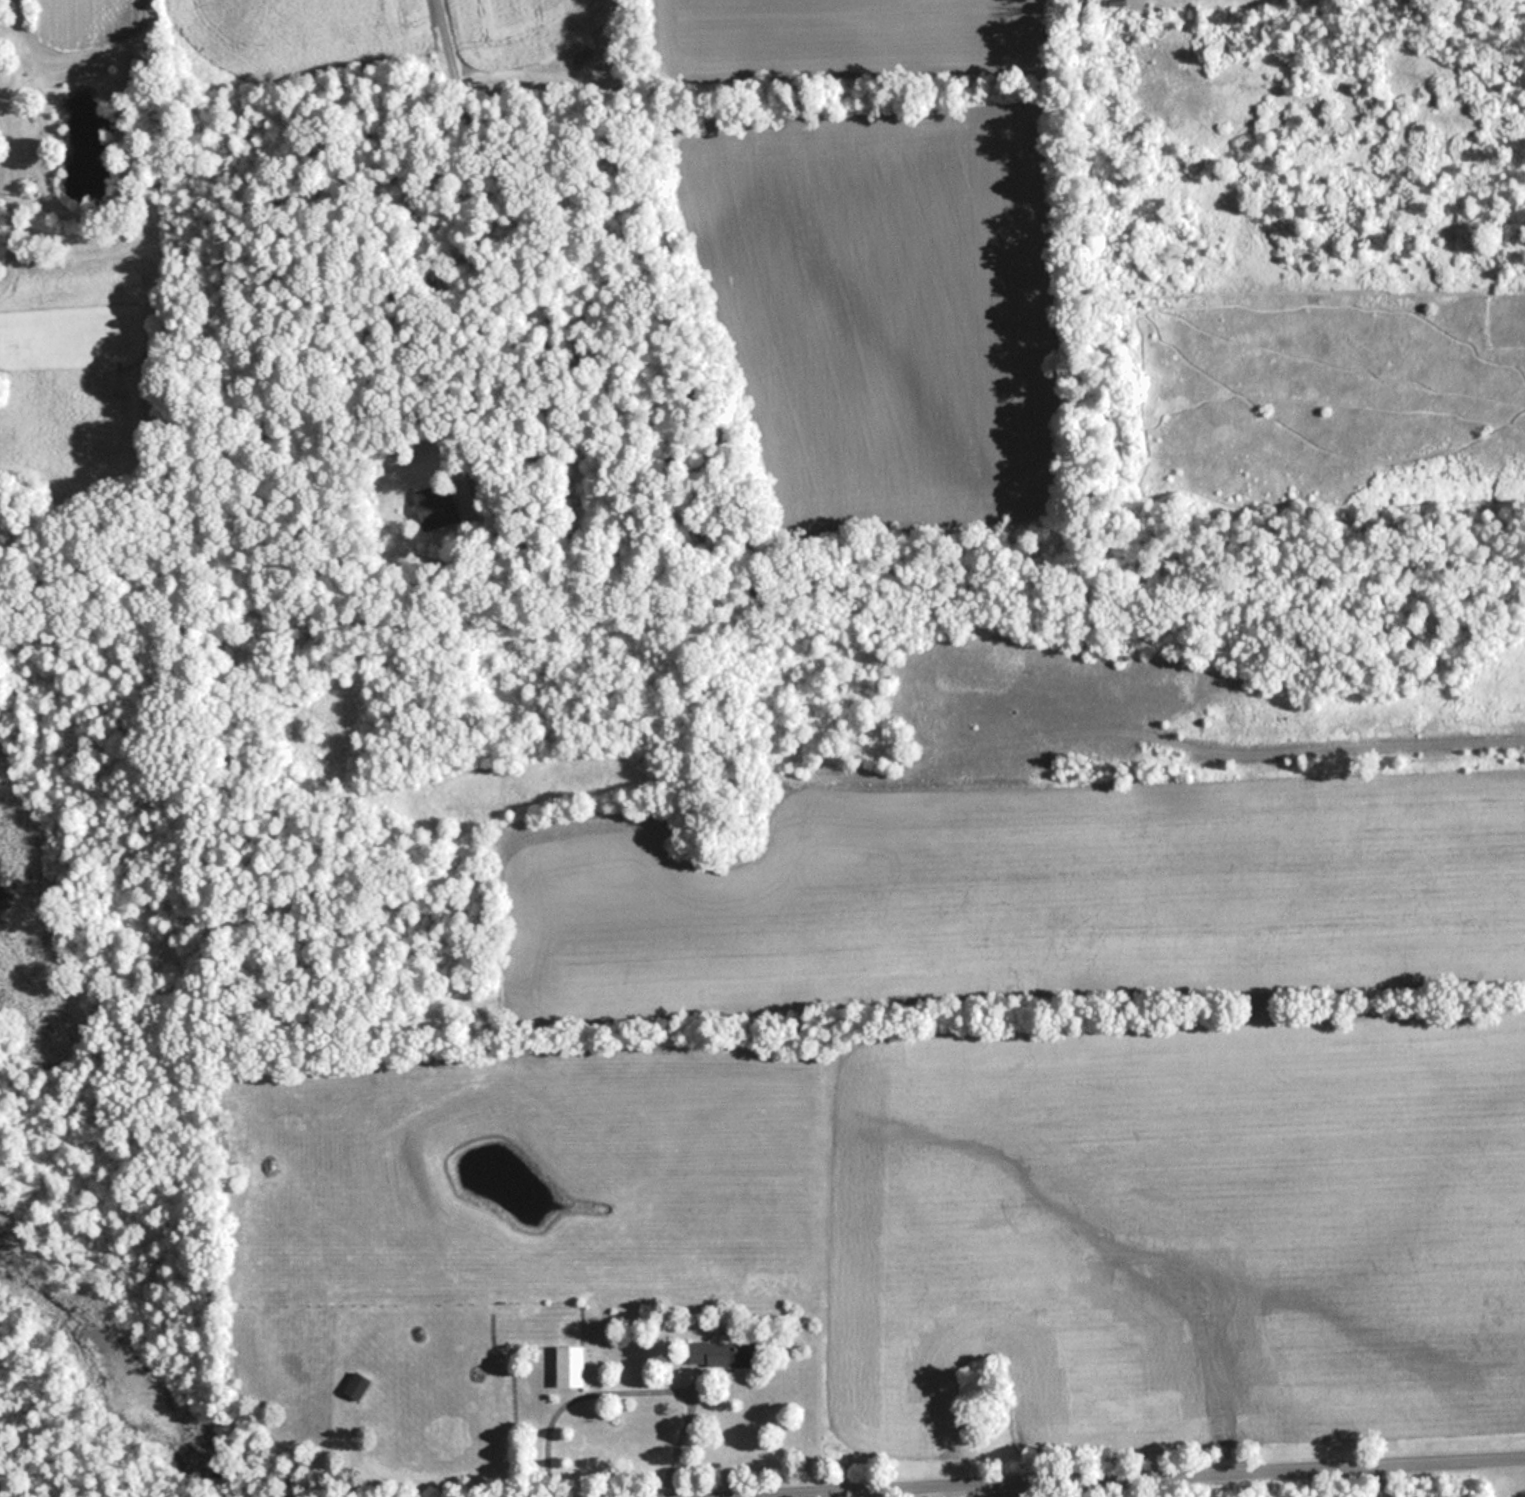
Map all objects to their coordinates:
road: (441, 40)
building: (723, 1354)
building: (572, 1368)
building: (357, 1386)
road: (986, 1473)
road: (1387, 1476)
road: (953, 1486)
road: (879, 1487)
road: (781, 1490)
road: (706, 1491)

